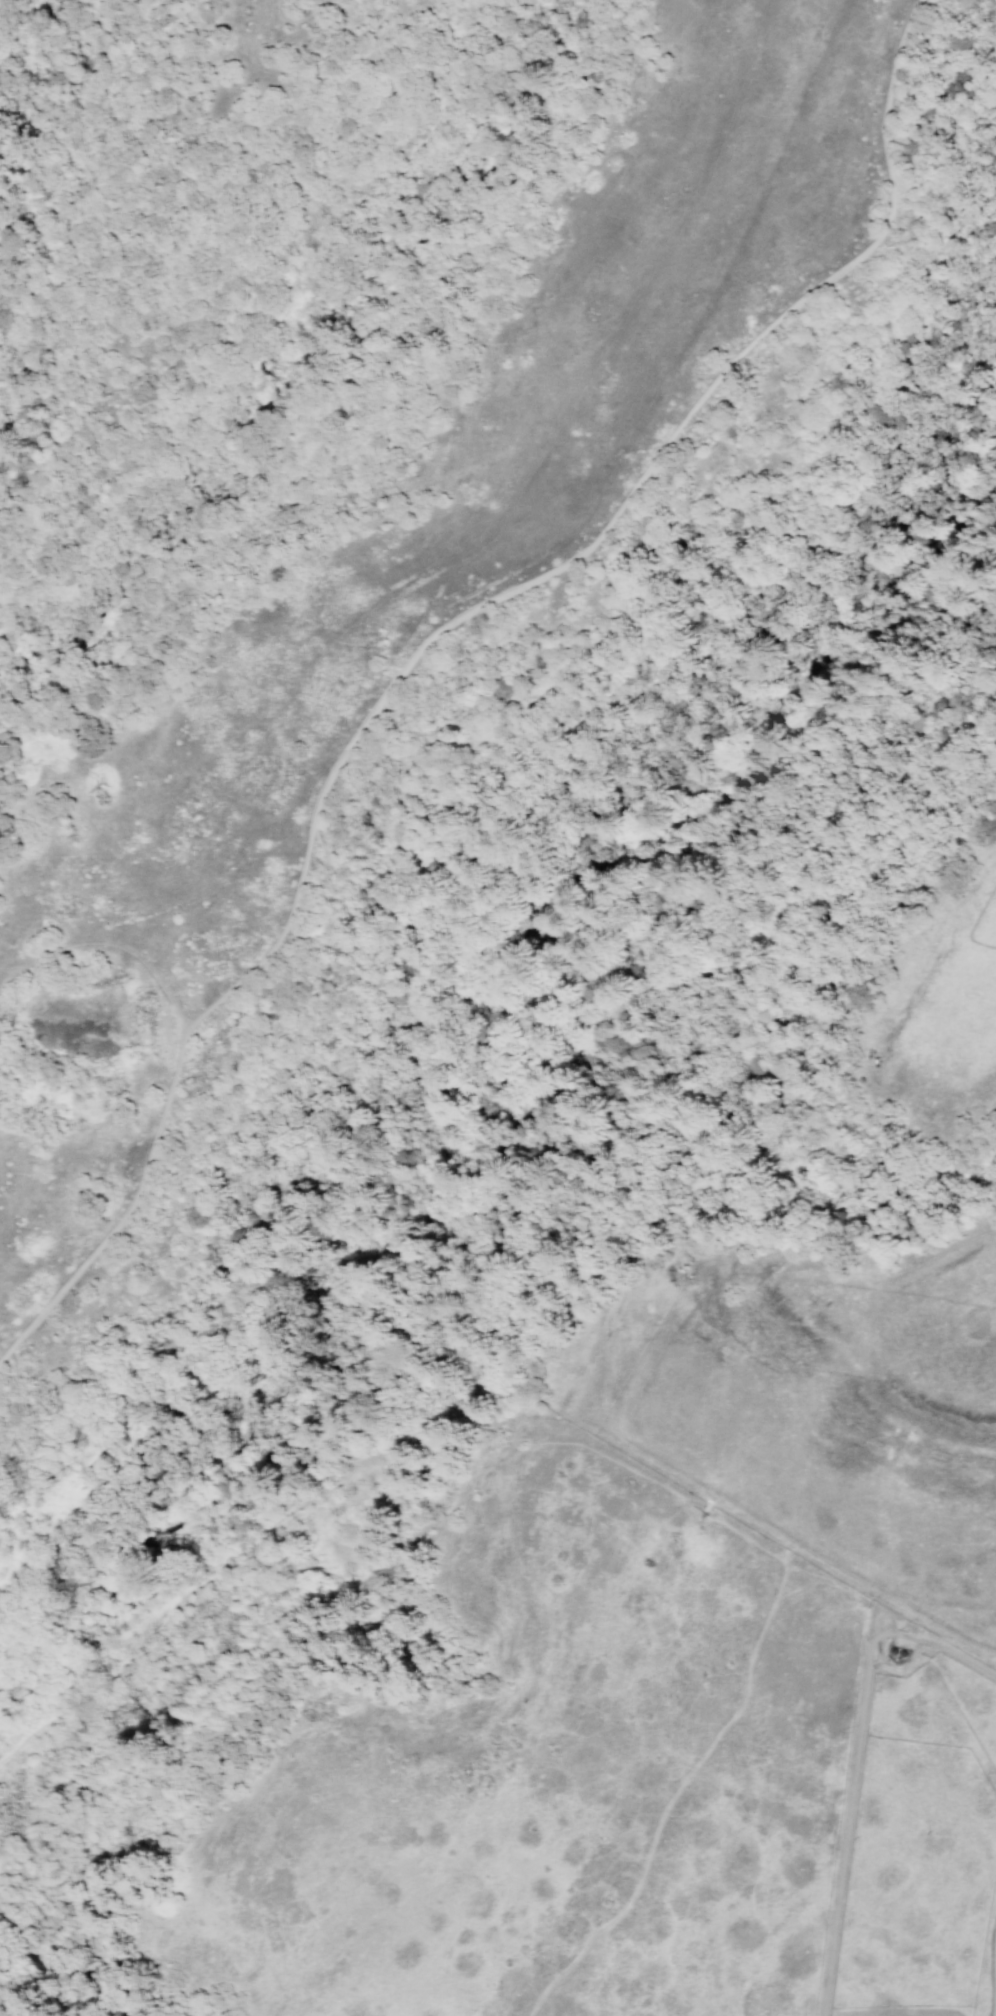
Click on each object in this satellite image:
road: (432, 640)
road: (116, 944)
road: (3, 973)
road: (3, 980)
crop: (788, 1187)
road: (565, 1444)
water tower: (893, 1651)
water tower: (903, 1654)
road: (857, 1770)
road: (994, 2008)

